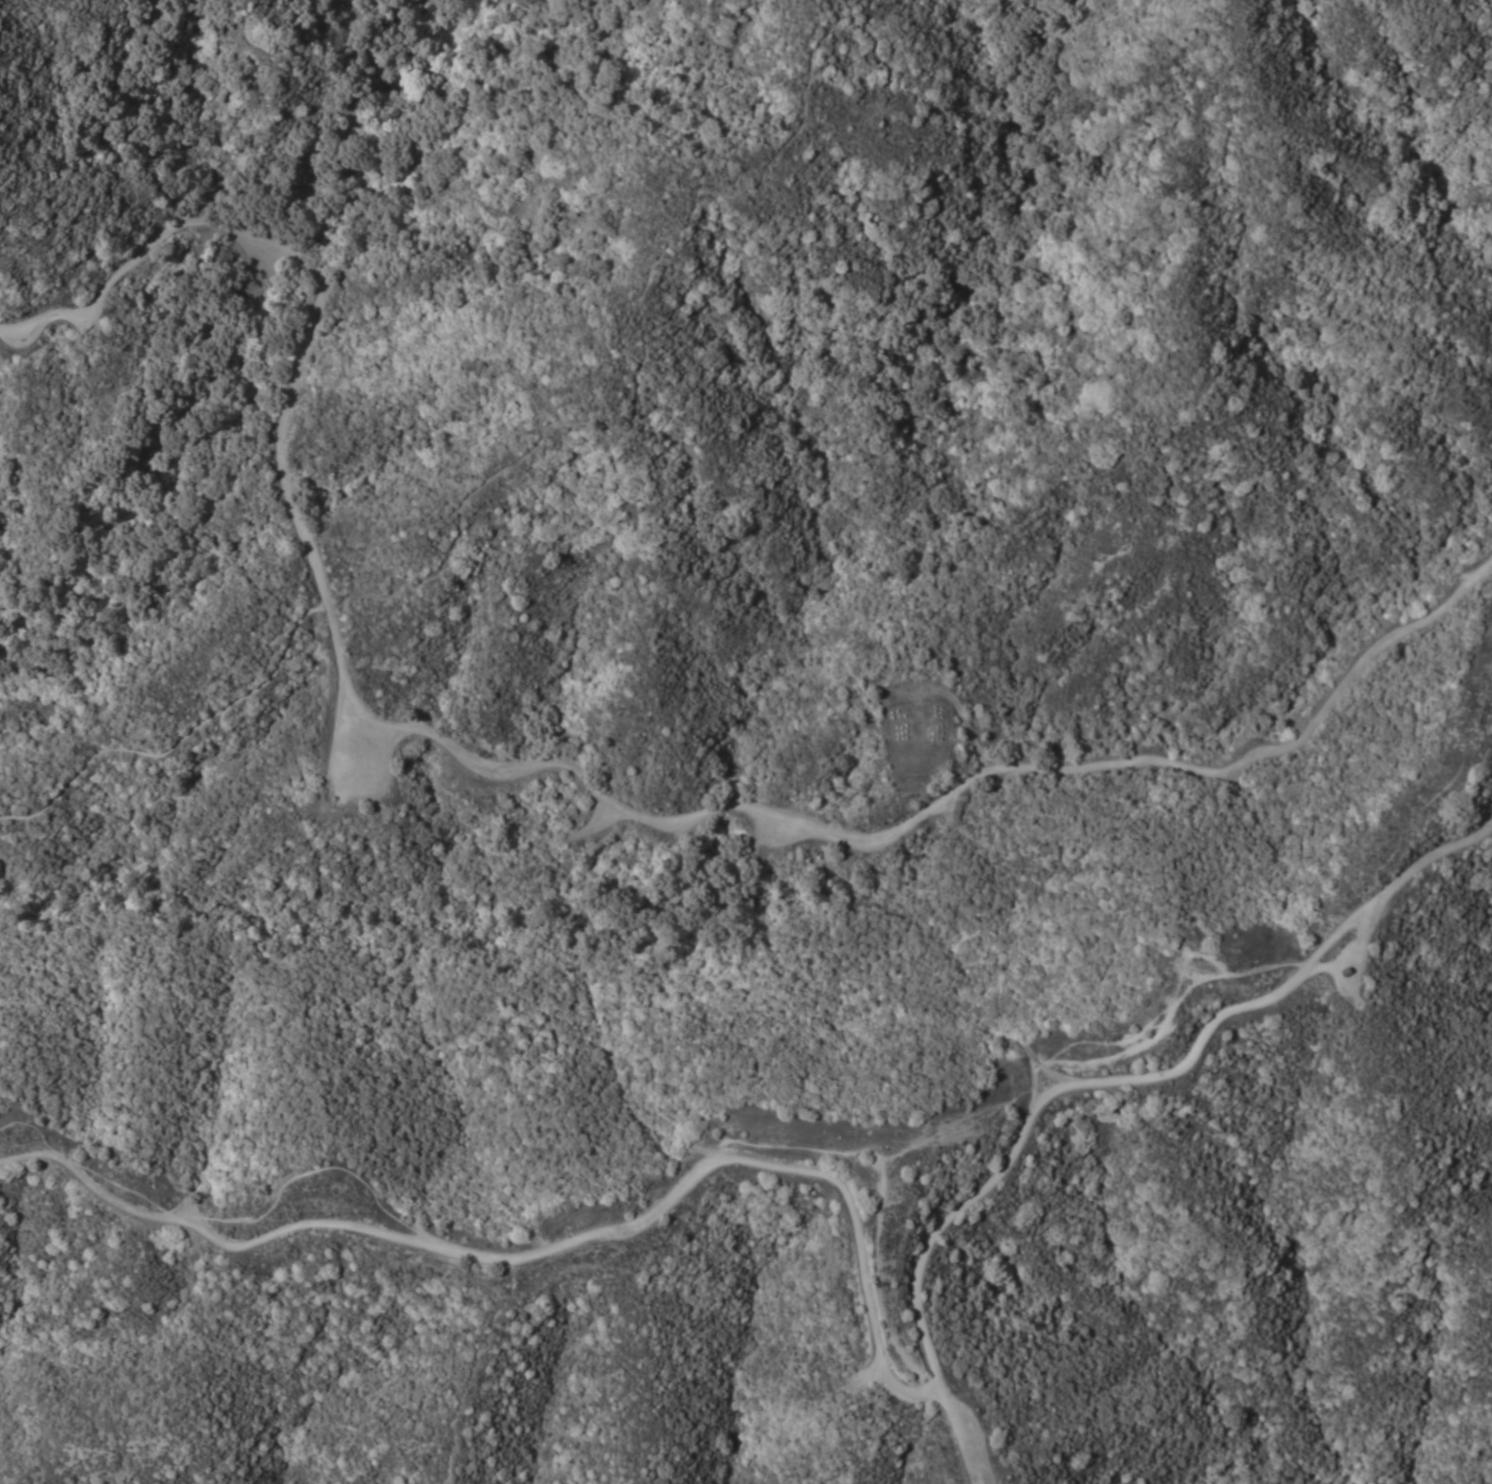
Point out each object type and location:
road: (634, 342)
park: (416, 470)
road: (178, 739)
road: (569, 773)
road: (1096, 1080)
road: (552, 1249)

